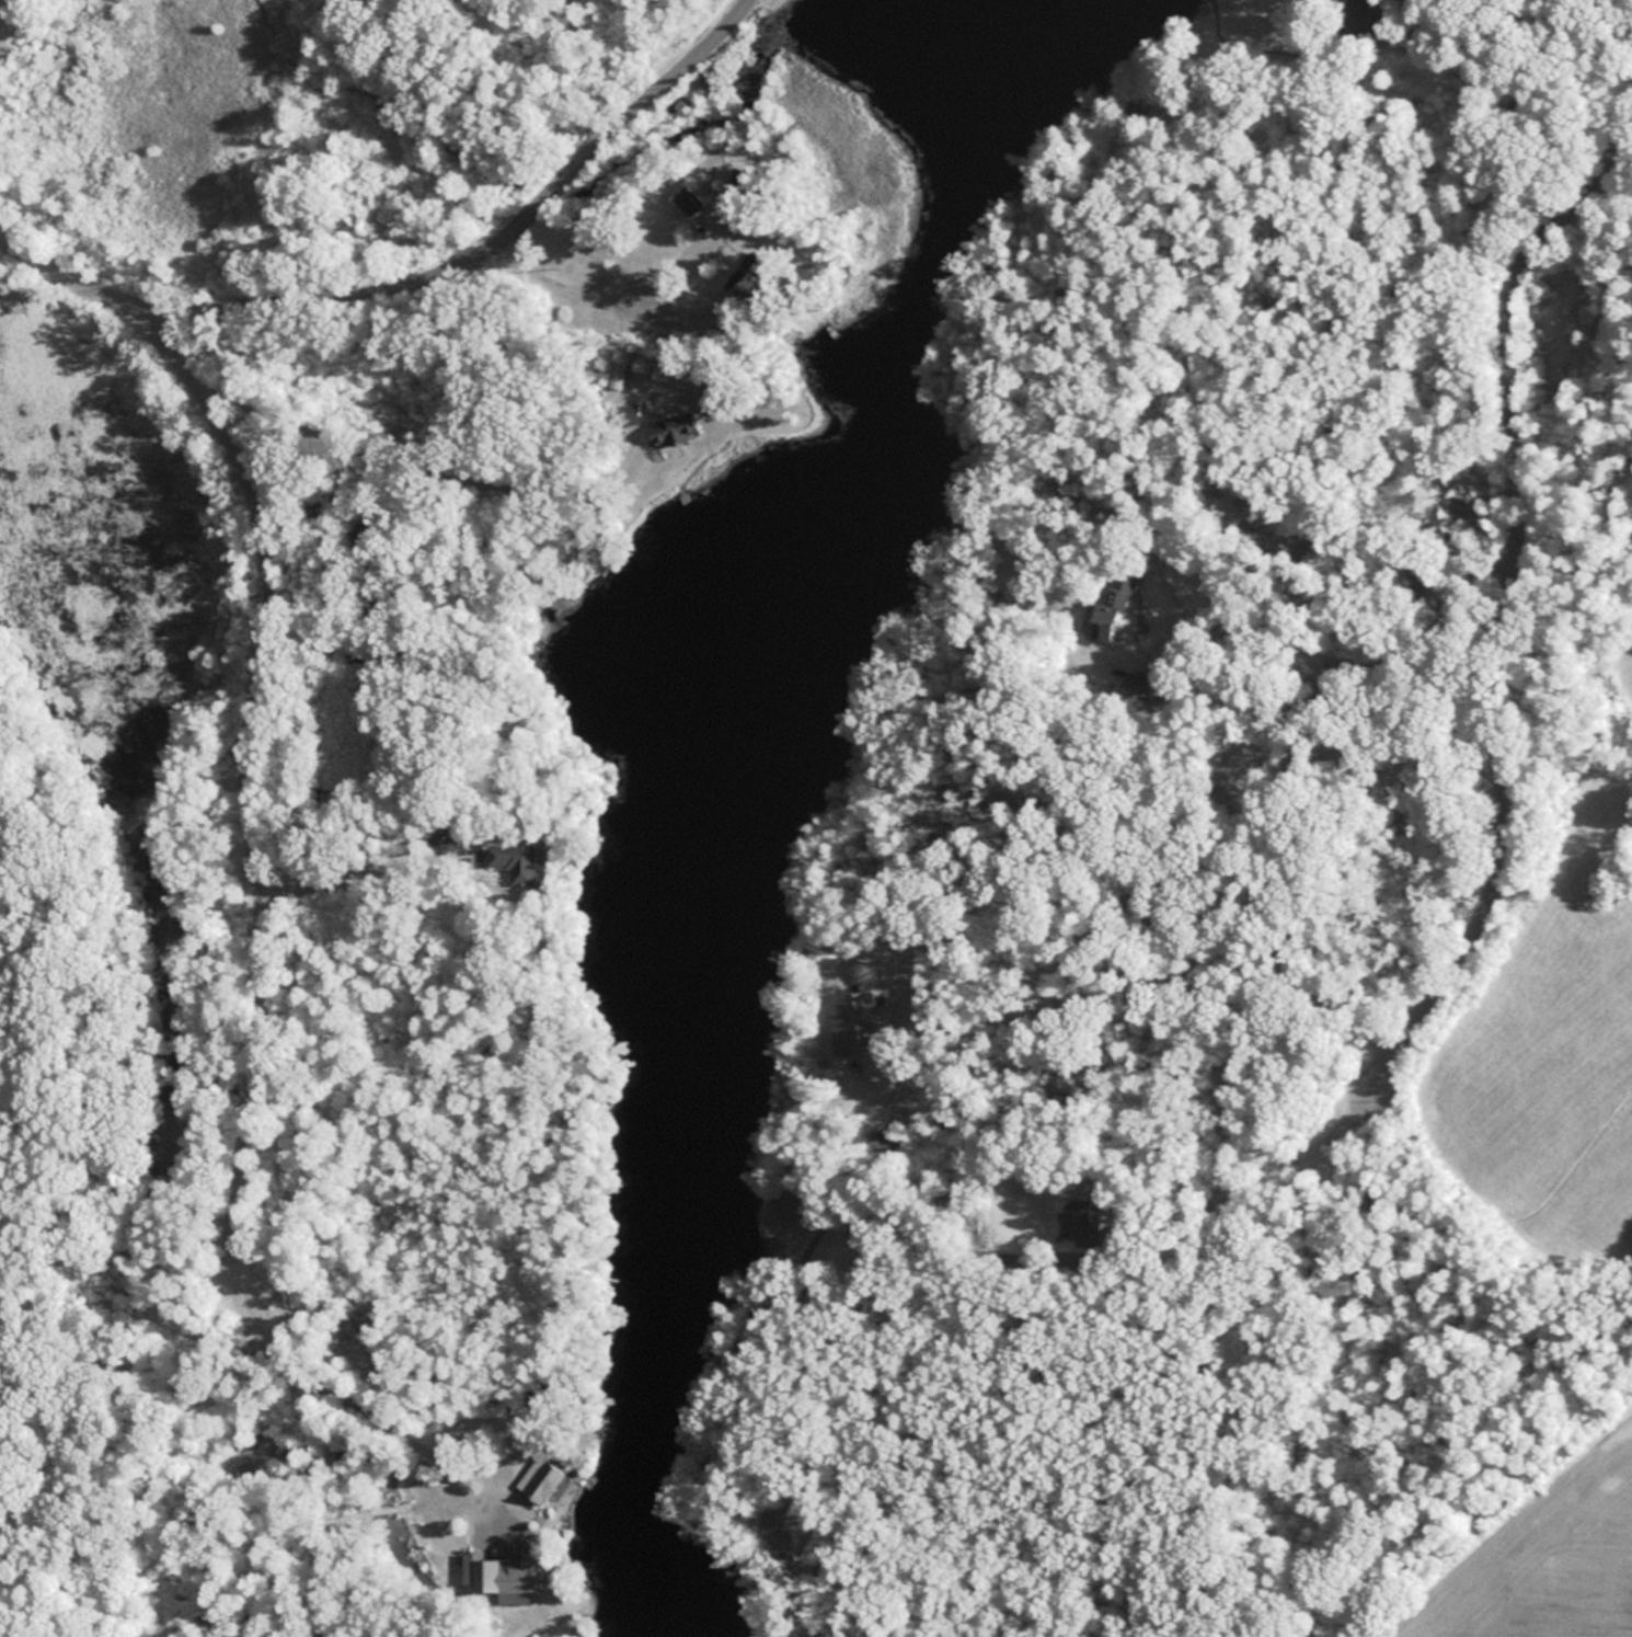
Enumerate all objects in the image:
building: (1377, 15)
building: (738, 181)
building: (688, 199)
road: (412, 270)
building: (748, 285)
building: (660, 424)
road: (1502, 594)
building: (1113, 605)
building: (1140, 684)
building: (516, 861)
road: (269, 953)
road: (1114, 1123)
building: (1087, 1216)
building: (542, 1481)
building: (502, 1577)

